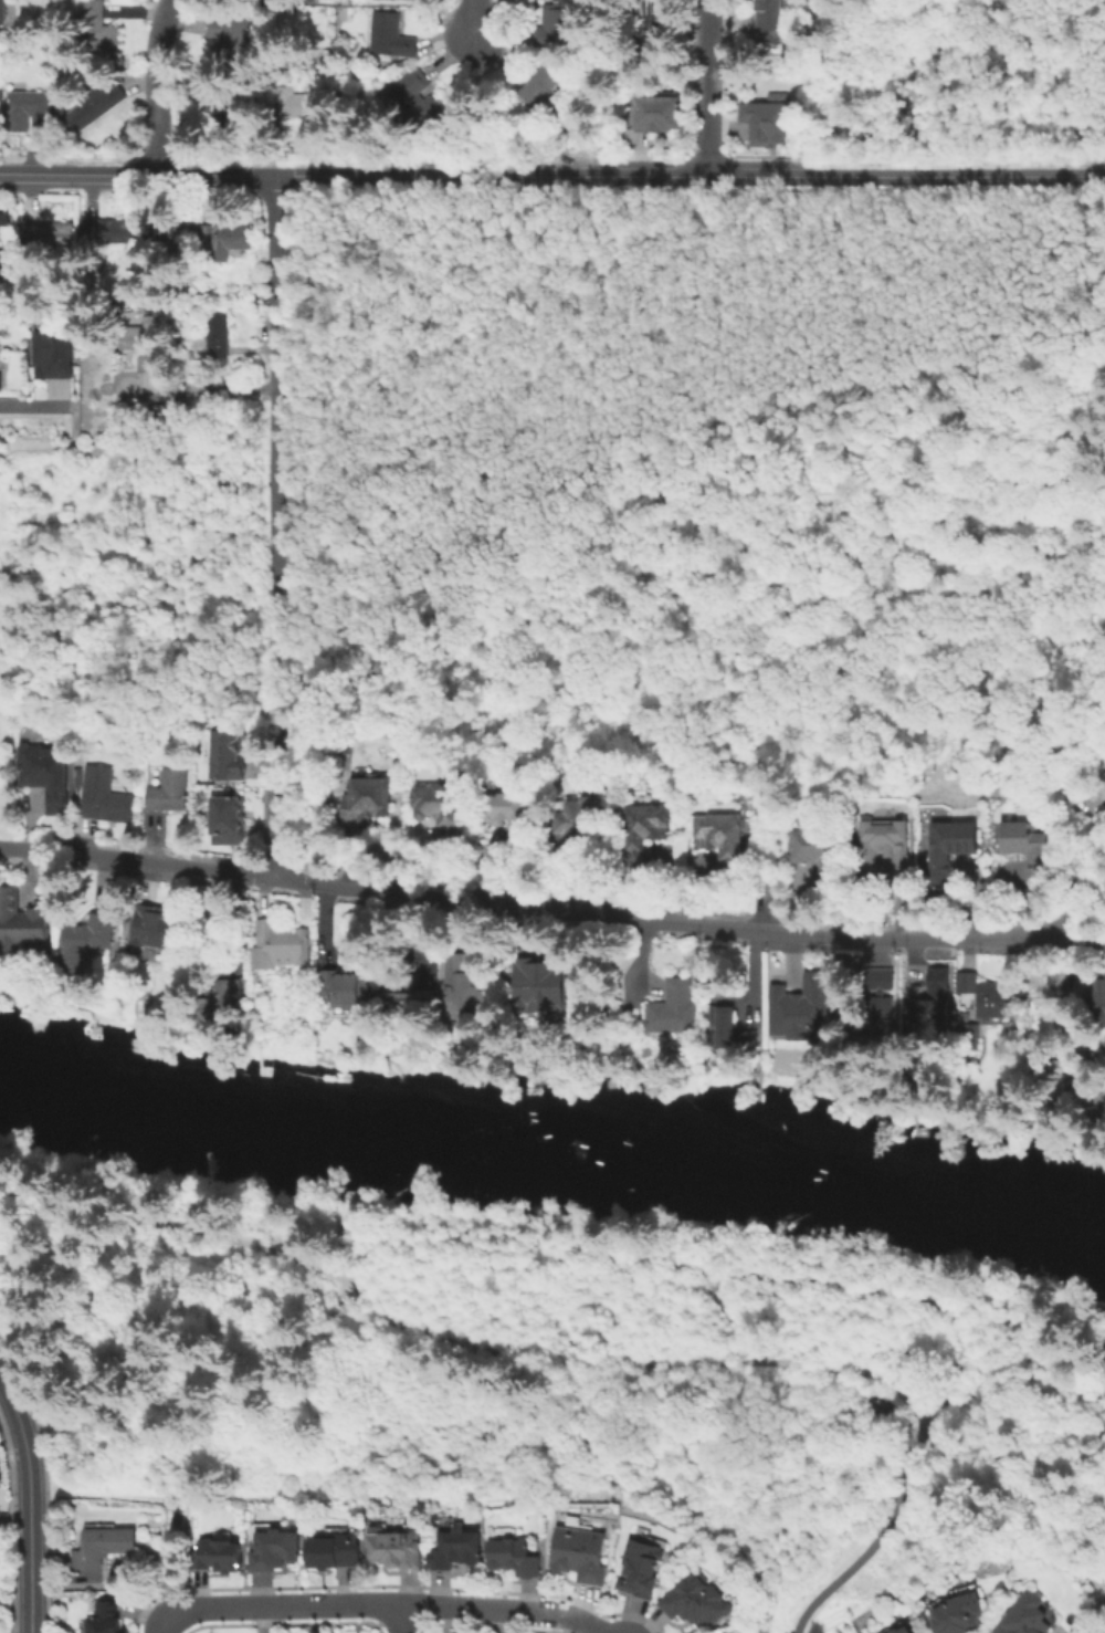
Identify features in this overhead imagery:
building: (402, 1)
building: (2, 12)
road: (474, 19)
building: (649, 19)
building: (767, 19)
building: (559, 28)
building: (98, 30)
building: (392, 39)
building: (232, 43)
road: (155, 87)
road: (708, 90)
building: (541, 91)
building: (414, 101)
building: (96, 105)
building: (218, 106)
building: (299, 106)
building: (31, 112)
building: (657, 116)
building: (762, 119)
road: (10, 176)
road: (147, 177)
road: (1090, 178)
road: (282, 179)
road: (683, 179)
building: (2, 218)
building: (108, 234)
building: (50, 237)
building: (225, 243)
building: (3, 276)
building: (213, 342)
building: (141, 345)
building: (56, 354)
building: (1, 371)
road: (31, 406)
road: (275, 528)
road: (1085, 705)
park: (2, 706)
building: (224, 754)
building: (48, 776)
building: (1101, 786)
building: (166, 791)
building: (105, 799)
building: (364, 800)
building: (439, 813)
building: (505, 816)
building: (227, 823)
building: (576, 823)
building: (642, 833)
building: (720, 840)
road: (1067, 840)
building: (880, 848)
building: (1027, 849)
building: (949, 851)
building: (814, 852)
road: (534, 907)
building: (22, 925)
building: (154, 928)
road: (1087, 940)
building: (86, 942)
building: (284, 949)
building: (462, 975)
building: (418, 985)
building: (347, 987)
building: (544, 990)
building: (989, 996)
building: (219, 999)
building: (1098, 1002)
building: (928, 1004)
building: (673, 1008)
building: (799, 1009)
building: (875, 1015)
building: (736, 1030)
building: (969, 1037)
building: (1055, 1077)
river: (554, 1138)
road: (343, 1235)
road: (520, 1239)
road: (810, 1281)
road: (377, 1311)
road: (903, 1351)
road: (869, 1372)
park: (561, 1375)
road: (939, 1405)
road: (27, 1503)
road: (866, 1547)
building: (336, 1549)
building: (397, 1550)
building: (101, 1551)
building: (275, 1551)
building: (454, 1552)
building: (580, 1552)
building: (514, 1556)
building: (214, 1558)
building: (638, 1561)
building: (699, 1598)
road: (355, 1603)
building: (953, 1612)
building: (1028, 1615)
building: (105, 1618)
road: (399, 1619)
road: (591, 1619)
building: (897, 1624)

